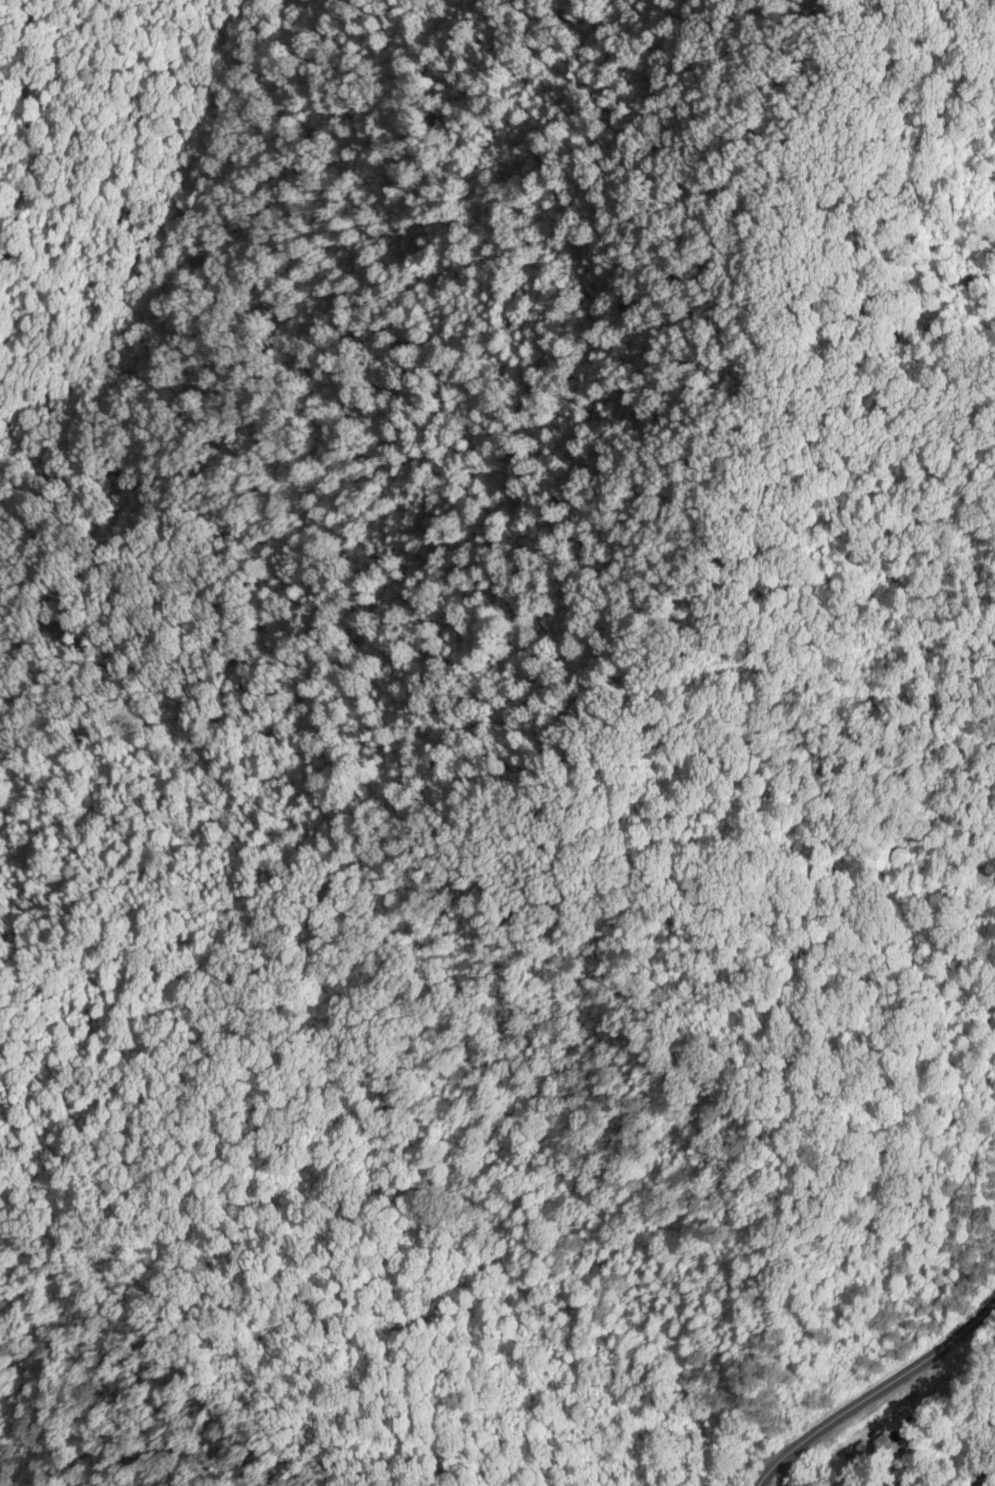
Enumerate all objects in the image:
road: (873, 1394)

